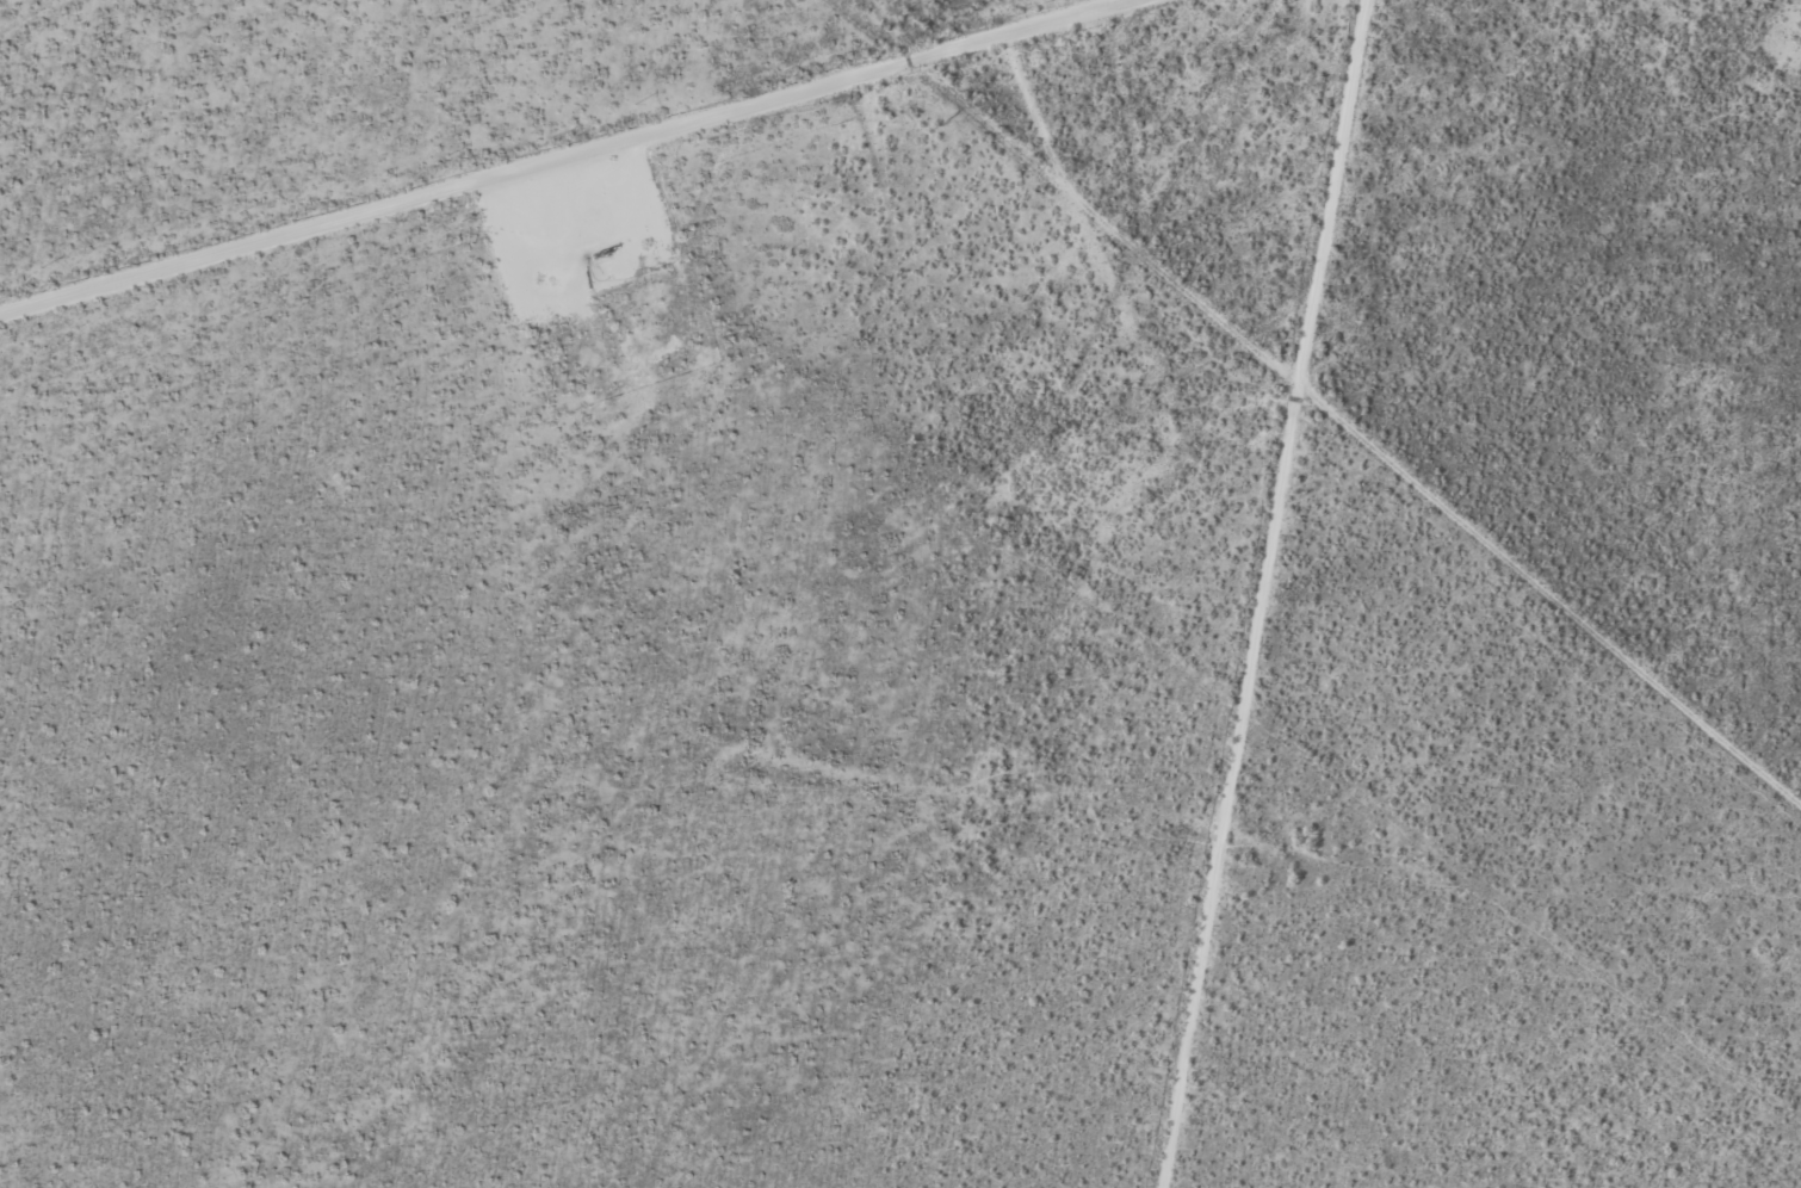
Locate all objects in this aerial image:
road: (559, 155)
road: (1261, 593)

